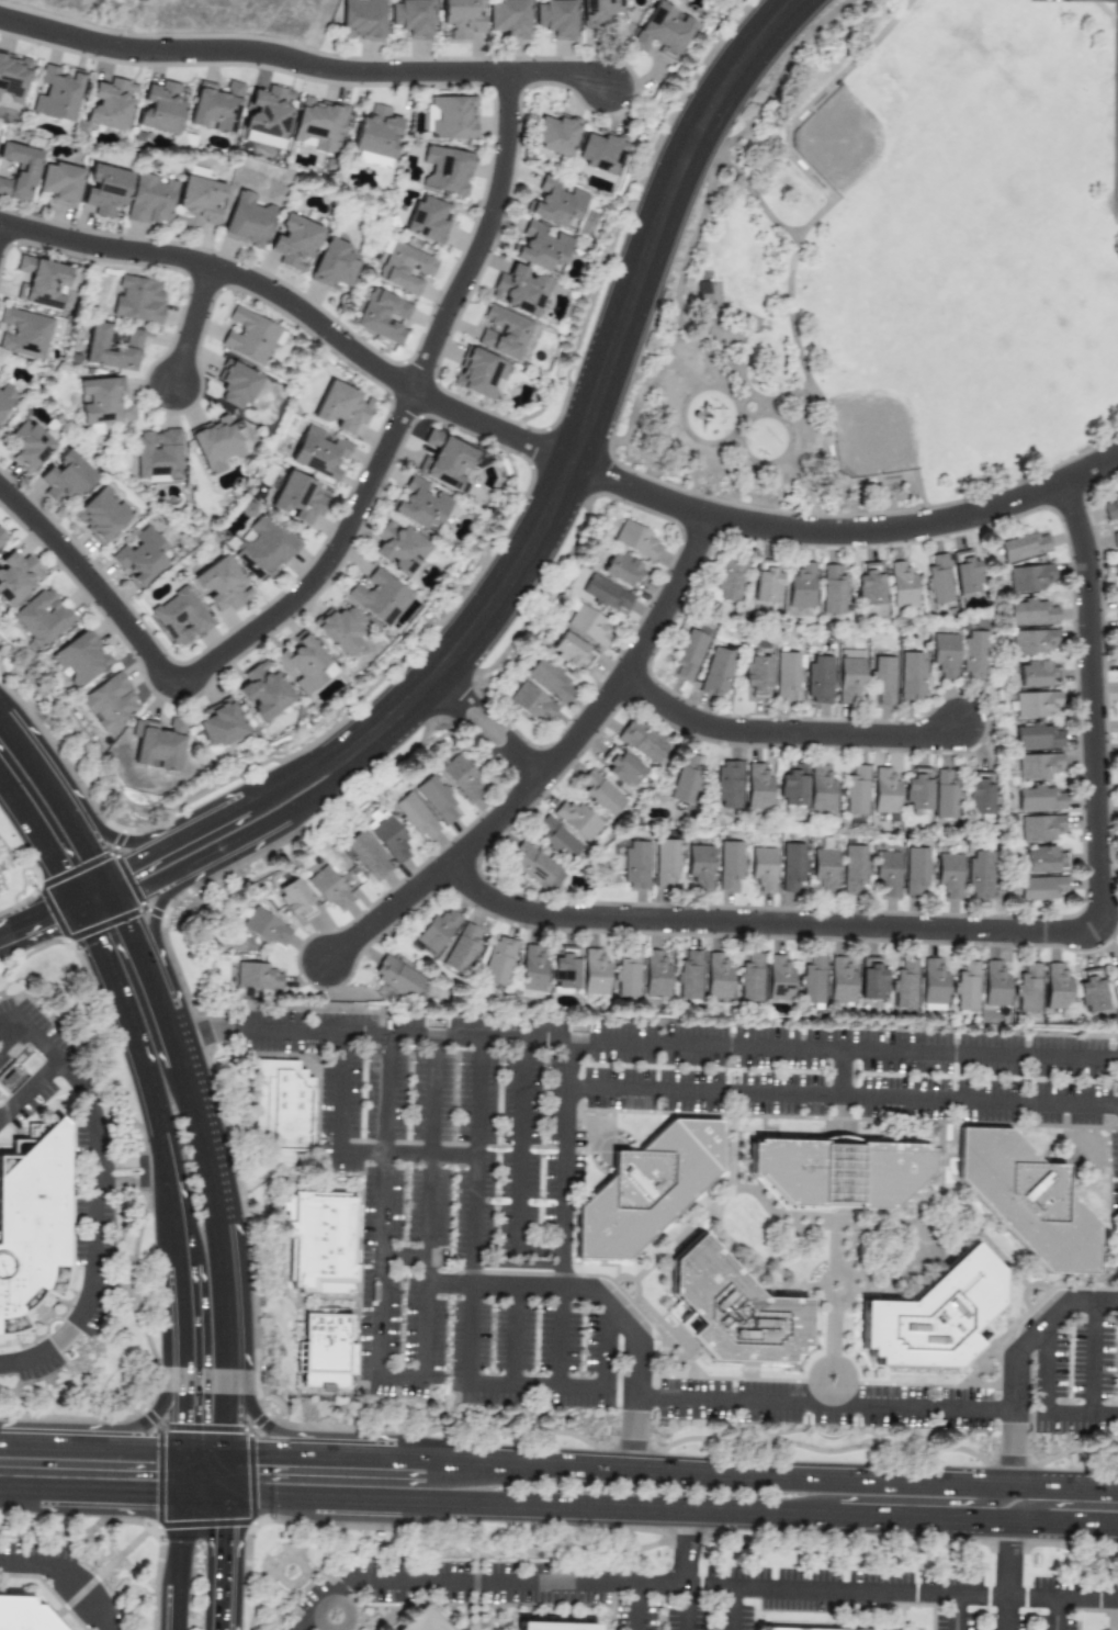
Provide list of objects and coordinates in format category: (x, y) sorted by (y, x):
building: (597, 12)
park: (202, 16)
building: (411, 18)
building: (462, 18)
building: (509, 19)
building: (556, 19)
building: (362, 20)
building: (662, 32)
road: (255, 54)
road: (560, 75)
building: (13, 77)
building: (57, 94)
building: (110, 104)
building: (215, 106)
building: (160, 109)
building: (268, 116)
building: (451, 117)
building: (319, 125)
building: (376, 133)
building: (555, 135)
building: (600, 151)
building: (372, 160)
building: (447, 170)
building: (19, 171)
building: (59, 184)
building: (105, 190)
building: (151, 200)
building: (200, 200)
building: (557, 204)
building: (247, 221)
building: (429, 221)
road: (1, 233)
building: (294, 243)
building: (542, 247)
building: (335, 263)
building: (406, 269)
building: (39, 282)
building: (519, 290)
park: (876, 292)
building: (138, 300)
road: (300, 307)
building: (383, 317)
road: (196, 328)
building: (502, 333)
building: (24, 334)
building: (248, 336)
building: (112, 349)
building: (482, 374)
building: (237, 384)
road: (595, 397)
building: (5, 398)
building: (103, 402)
building: (341, 407)
building: (219, 443)
building: (29, 447)
building: (319, 453)
building: (158, 456)
building: (444, 461)
building: (65, 480)
building: (297, 498)
building: (420, 506)
building: (1110, 506)
building: (101, 516)
road: (845, 531)
road: (348, 535)
building: (1115, 535)
building: (2, 538)
building: (635, 540)
building: (1024, 546)
building: (398, 548)
building: (263, 549)
building: (142, 555)
building: (1116, 565)
building: (624, 571)
building: (967, 574)
building: (16, 577)
building: (1029, 577)
building: (729, 578)
building: (937, 581)
building: (766, 584)
building: (903, 584)
building: (222, 585)
building: (870, 586)
building: (801, 587)
building: (833, 589)
building: (605, 593)
building: (379, 597)
building: (1032, 612)
building: (42, 618)
building: (180, 618)
building: (589, 626)
building: (1117, 627)
building: (339, 630)
building: (1031, 641)
building: (572, 653)
building: (687, 655)
building: (944, 655)
building: (974, 655)
building: (81, 659)
building: (304, 665)
building: (718, 672)
building: (1037, 673)
building: (788, 674)
building: (756, 676)
building: (850, 676)
building: (912, 676)
building: (547, 678)
building: (820, 678)
building: (881, 678)
building: (262, 692)
building: (530, 701)
building: (110, 702)
building: (1034, 704)
road: (605, 708)
building: (221, 724)
road: (485, 728)
road: (789, 734)
building: (1036, 735)
building: (642, 740)
building: (158, 744)
road: (33, 762)
building: (1037, 765)
building: (621, 767)
building: (460, 776)
building: (685, 779)
building: (729, 785)
building: (791, 786)
building: (758, 787)
building: (821, 789)
building: (916, 790)
building: (884, 791)
building: (602, 792)
building: (945, 792)
building: (856, 795)
building: (979, 798)
building: (1038, 798)
building: (437, 799)
building: (413, 814)
road: (222, 817)
building: (576, 818)
building: (1039, 827)
building: (388, 838)
building: (557, 839)
road: (41, 840)
road: (236, 840)
road: (127, 842)
road: (86, 843)
building: (364, 854)
building: (1044, 858)
building: (667, 861)
building: (731, 863)
traffic signals: (132, 864)
building: (635, 864)
building: (532, 865)
building: (699, 867)
building: (792, 867)
building: (855, 867)
building: (764, 868)
building: (916, 868)
traffic signals: (57, 869)
building: (825, 869)
building: (887, 870)
building: (948, 875)
building: (979, 875)
building: (328, 888)
building: (1038, 888)
road: (109, 889)
road: (90, 893)
building: (295, 899)
road: (93, 900)
road: (158, 906)
road: (392, 914)
traffic signals: (45, 918)
road: (37, 920)
traffic signals: (126, 926)
building: (264, 928)
building: (437, 931)
road: (995, 932)
road: (133, 942)
building: (462, 948)
building: (498, 959)
building: (564, 969)
building: (531, 974)
building: (1115, 974)
building: (252, 975)
building: (626, 975)
building: (594, 976)
building: (655, 976)
building: (688, 976)
building: (396, 977)
building: (718, 977)
building: (779, 978)
building: (749, 979)
building: (871, 979)
building: (811, 981)
building: (840, 981)
building: (934, 985)
building: (903, 986)
building: (994, 986)
building: (965, 987)
building: (1058, 988)
building: (1028, 989)
building: (1091, 991)
road: (3, 1019)
road: (174, 1024)
road: (10, 1035)
road: (652, 1044)
road: (839, 1072)
building: (11, 1078)
road: (134, 1078)
road: (30, 1089)
road: (840, 1095)
building: (286, 1102)
road: (349, 1150)
road: (517, 1165)
road: (97, 1173)
building: (835, 1173)
building: (647, 1184)
road: (94, 1192)
building: (1027, 1198)
road: (226, 1203)
building: (32, 1215)
building: (326, 1237)
road: (403, 1254)
road: (562, 1266)
road: (496, 1285)
building: (732, 1303)
building: (931, 1311)
road: (468, 1314)
road: (560, 1334)
road: (515, 1337)
road: (177, 1348)
building: (329, 1348)
road: (1016, 1359)
road: (1094, 1359)
road: (5, 1363)
road: (163, 1376)
road: (397, 1378)
road: (238, 1394)
road: (824, 1406)
road: (1044, 1406)
road: (263, 1416)
traffic signals: (178, 1419)
road: (88, 1435)
road: (206, 1439)
traffic signals: (263, 1441)
road: (677, 1460)
road: (176, 1473)
road: (235, 1475)
road: (1041, 1499)
traffic signals: (150, 1507)
road: (976, 1508)
road: (558, 1513)
traffic signals: (233, 1541)
road: (687, 1549)
road: (1009, 1561)
road: (110, 1569)
road: (172, 1569)
road: (231, 1570)
road: (66, 1574)
road: (482, 1582)
road: (636, 1584)
road: (707, 1586)
road: (48, 1588)
road: (902, 1593)
road: (334, 1597)
road: (685, 1607)
road: (952, 1612)
road: (1007, 1614)
road: (1054, 1614)
building: (22, 1615)
building: (428, 1621)
building: (563, 1626)
road: (312, 1628)
building: (777, 1629)

